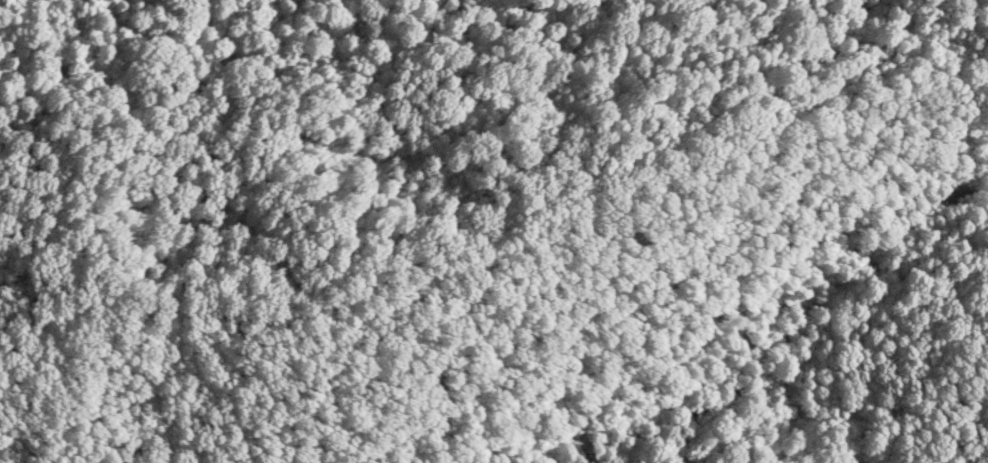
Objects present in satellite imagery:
road: (979, 219)

